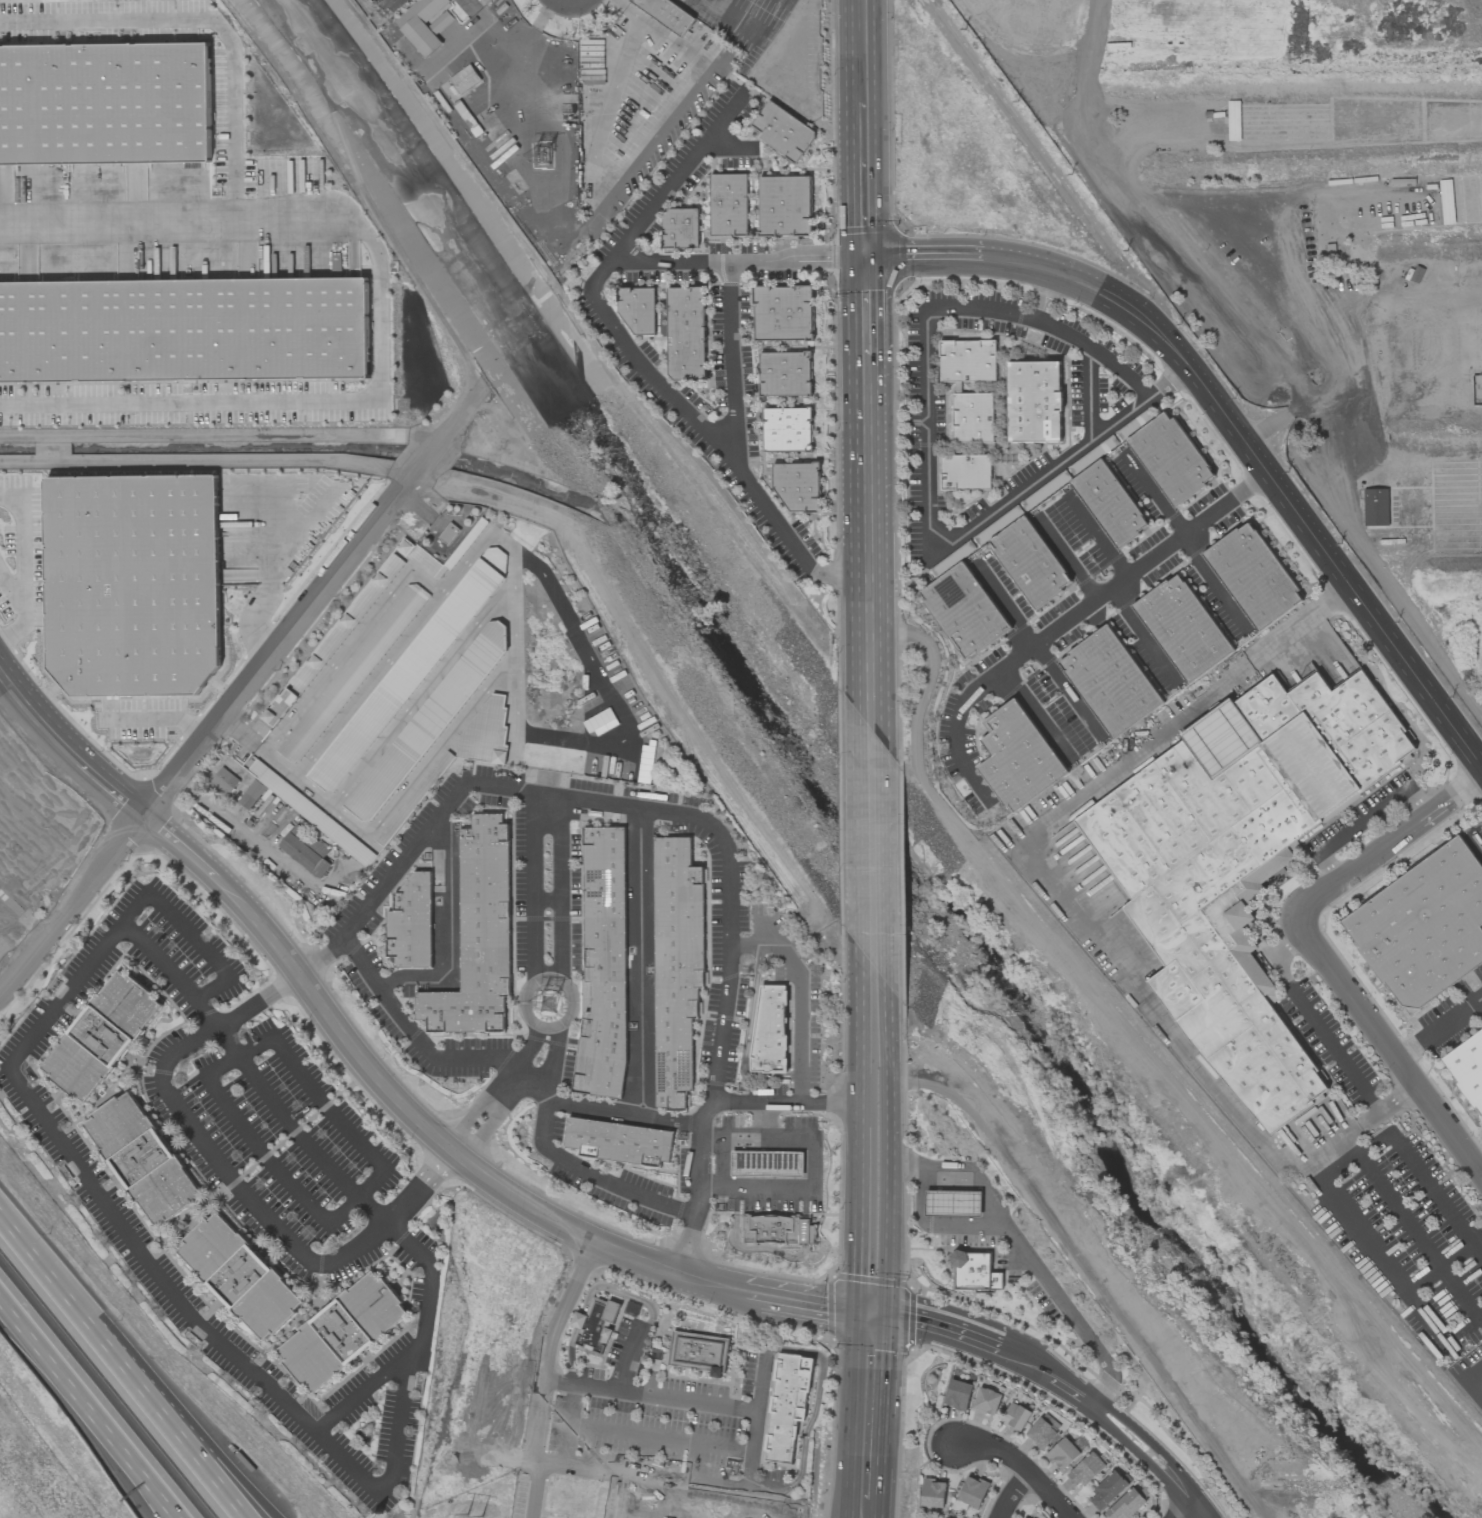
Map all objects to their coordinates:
building: (666, 13)
road: (729, 16)
road: (540, 20)
building: (421, 24)
road: (492, 30)
road: (862, 47)
building: (465, 79)
building: (105, 104)
road: (234, 116)
building: (1233, 120)
building: (783, 132)
road: (732, 147)
power tower: (552, 158)
road: (864, 177)
building: (1446, 202)
building: (728, 205)
building: (785, 206)
building: (681, 228)
road: (939, 259)
road: (738, 261)
road: (1033, 266)
road: (865, 309)
building: (638, 312)
building: (783, 313)
building: (184, 330)
building: (686, 333)
road: (1328, 342)
road: (1097, 351)
road: (634, 359)
road: (731, 364)
building: (785, 374)
building: (956, 387)
road: (346, 390)
road: (1090, 394)
building: (1034, 402)
road: (471, 409)
building: (788, 429)
building: (1170, 458)
road: (428, 460)
building: (965, 472)
road: (1259, 484)
building: (798, 488)
road: (1288, 491)
road: (929, 502)
building: (1109, 503)
building: (1375, 507)
road: (840, 538)
road: (867, 539)
road: (1098, 539)
road: (1186, 543)
building: (952, 559)
building: (1030, 562)
road: (1067, 563)
road: (29, 565)
road: (268, 571)
building: (1253, 576)
building: (133, 583)
road: (13, 585)
building: (964, 611)
road: (513, 620)
building: (1183, 628)
road: (1056, 631)
road: (1142, 636)
road: (895, 651)
road: (1038, 651)
road: (649, 665)
building: (410, 671)
building: (353, 673)
road: (368, 682)
building: (1110, 682)
road: (423, 692)
building: (283, 703)
road: (1038, 714)
road: (160, 719)
road: (625, 720)
building: (485, 733)
road: (199, 743)
building: (1018, 757)
building: (223, 782)
building: (251, 795)
road: (1364, 820)
road: (240, 827)
road: (1480, 843)
road: (1391, 846)
road: (1029, 849)
road: (872, 850)
building: (306, 851)
building: (1239, 862)
road: (399, 867)
road: (534, 887)
road: (562, 890)
road: (730, 895)
road: (549, 900)
building: (411, 923)
building: (1424, 927)
road: (191, 933)
road: (450, 933)
building: (478, 935)
road: (1284, 951)
road: (640, 962)
road: (314, 964)
building: (604, 965)
building: (677, 967)
road: (555, 979)
road: (801, 995)
power tower: (555, 1010)
road: (1442, 1028)
building: (770, 1029)
road: (414, 1033)
building: (102, 1036)
road: (1391, 1042)
road: (1335, 1048)
road: (859, 1052)
road: (521, 1066)
building: (1467, 1067)
road: (325, 1102)
road: (785, 1104)
road: (602, 1110)
road: (475, 1111)
road: (1363, 1125)
road: (296, 1134)
road: (482, 1134)
building: (619, 1142)
road: (457, 1148)
road: (889, 1150)
road: (266, 1155)
building: (143, 1158)
road: (563, 1158)
building: (767, 1164)
road: (467, 1165)
road: (723, 1165)
road: (813, 1166)
road: (231, 1178)
road: (1424, 1179)
road: (541, 1197)
building: (953, 1203)
road: (1405, 1220)
road: (853, 1224)
road: (936, 1228)
building: (779, 1230)
road: (688, 1244)
road: (1369, 1246)
road: (1027, 1255)
road: (605, 1263)
road: (1444, 1263)
building: (971, 1270)
building: (241, 1276)
building: (996, 1281)
road: (166, 1287)
road: (72, 1306)
building: (595, 1324)
building: (343, 1332)
road: (547, 1347)
building: (698, 1353)
road: (629, 1358)
road: (870, 1363)
road: (1473, 1377)
road: (362, 1388)
road: (649, 1394)
building: (957, 1395)
road: (82, 1396)
building: (987, 1401)
building: (787, 1405)
building: (1015, 1416)
road: (568, 1425)
building: (1041, 1433)
road: (1140, 1435)
road: (661, 1437)
road: (1128, 1447)
building: (1063, 1454)
road: (195, 1456)
road: (205, 1456)
road: (866, 1461)
road: (1017, 1465)
building: (1085, 1470)
road: (707, 1487)
road: (536, 1491)
building: (1107, 1491)
building: (933, 1493)
building: (972, 1493)
road: (1010, 1494)
road: (617, 1496)
road: (1190, 1498)
building: (1126, 1505)
road: (169, 1508)
road: (171, 1508)
road: (1191, 1513)
road: (861, 1514)
road: (862, 1514)

